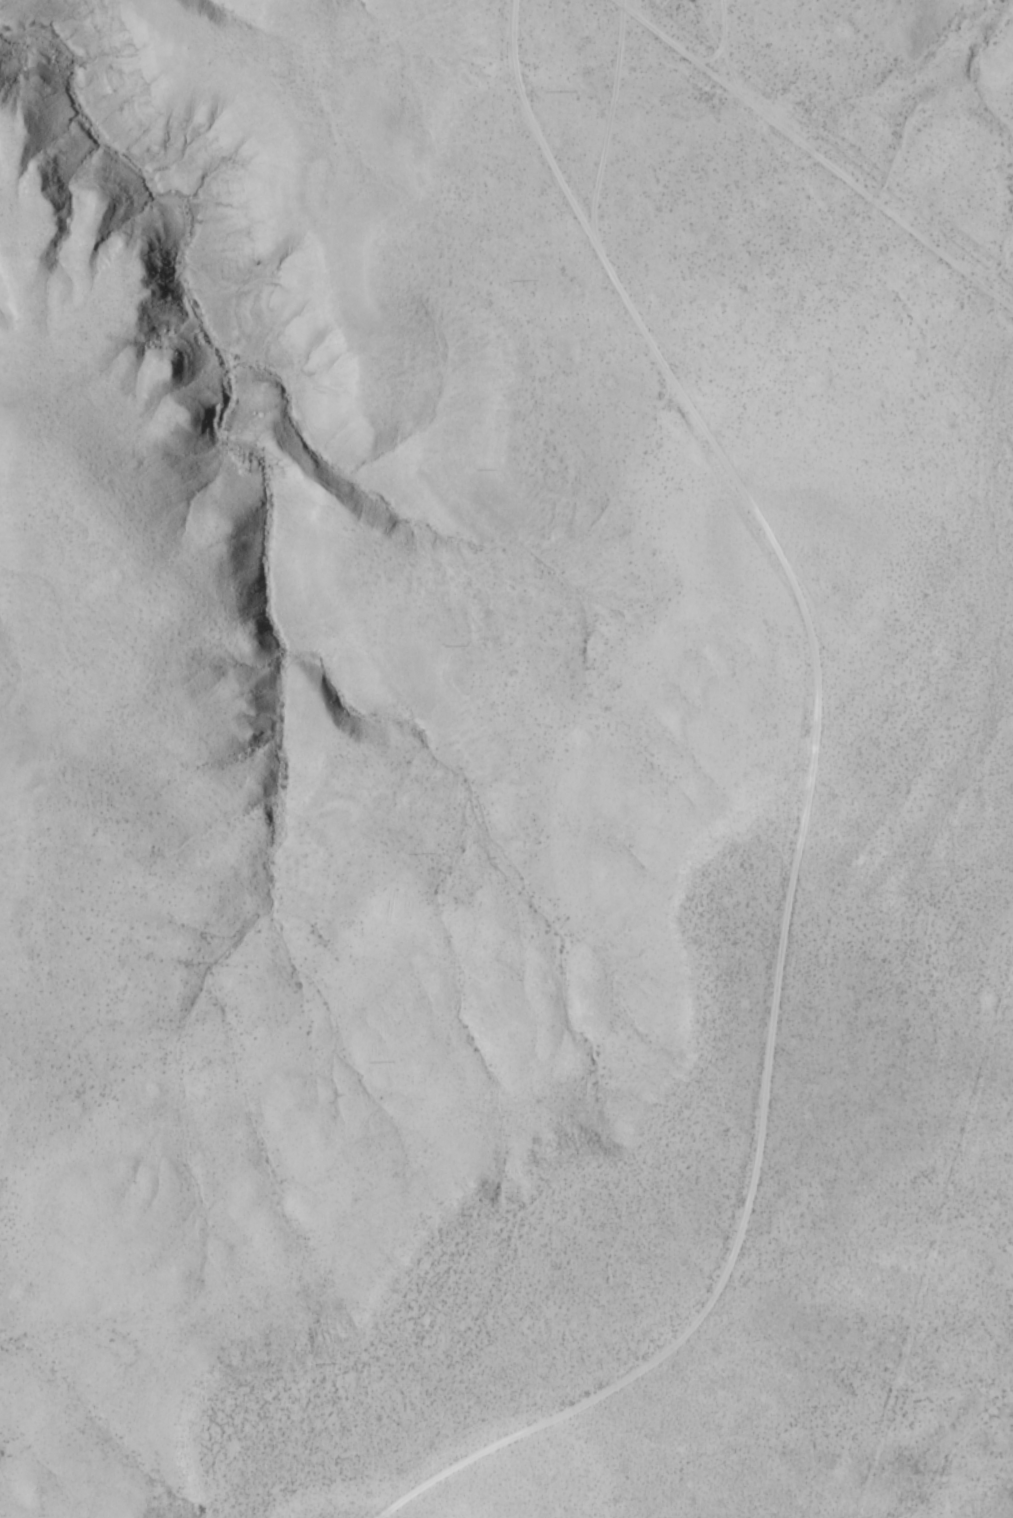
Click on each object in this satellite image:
road: (815, 157)
road: (803, 817)

